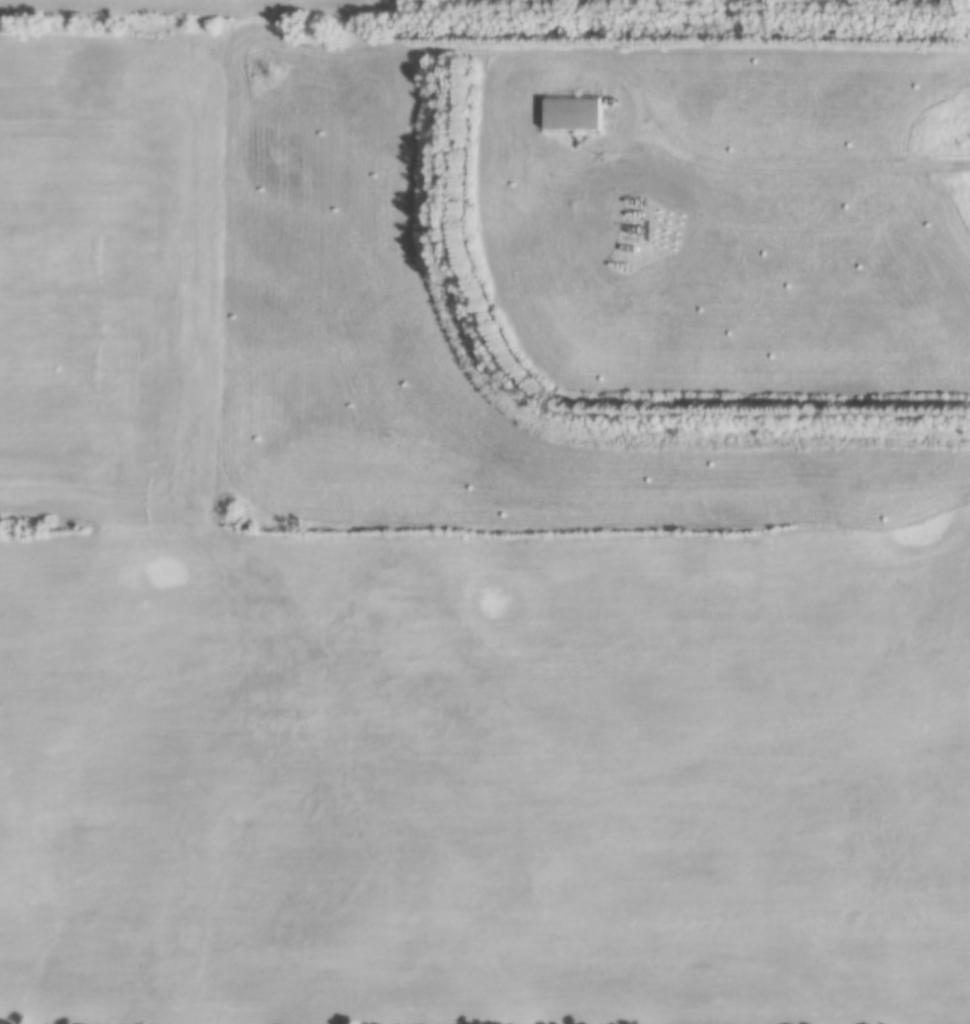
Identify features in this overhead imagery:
building: (578, 115)
road: (788, 171)

